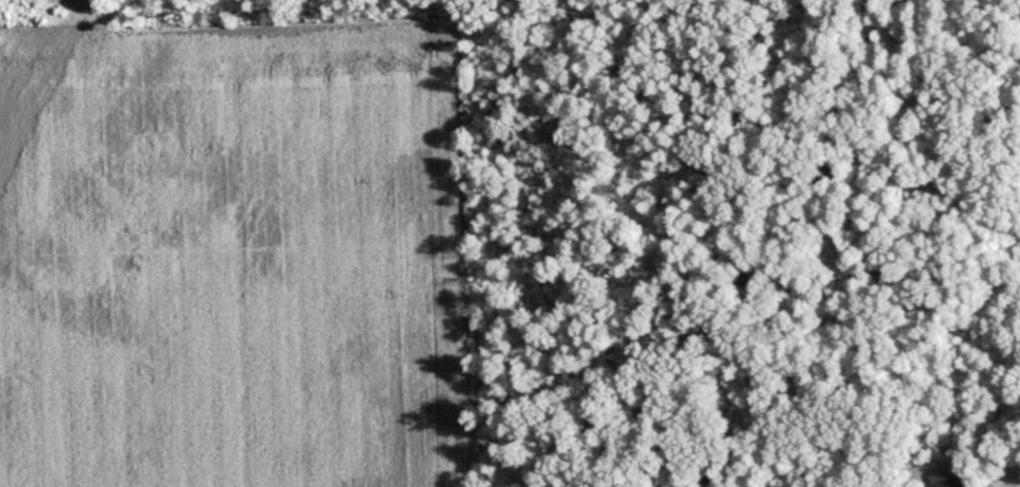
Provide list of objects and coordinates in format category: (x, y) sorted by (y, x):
building: (954, 482)

